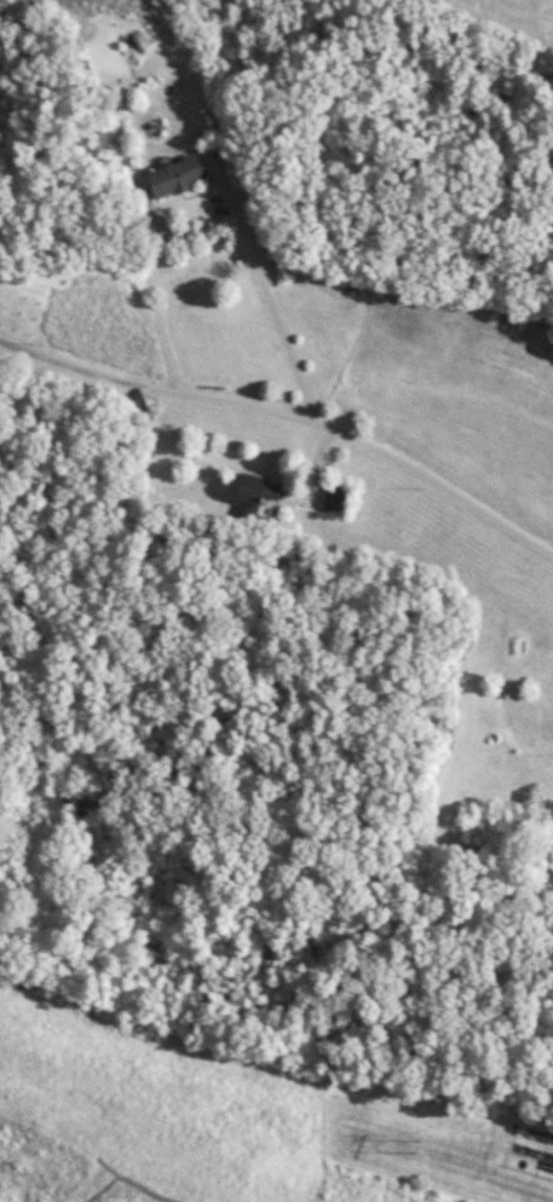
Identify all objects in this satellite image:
building: (178, 178)
road: (270, 299)
road: (289, 412)
building: (258, 491)
building: (338, 498)
power tower: (417, 1144)

